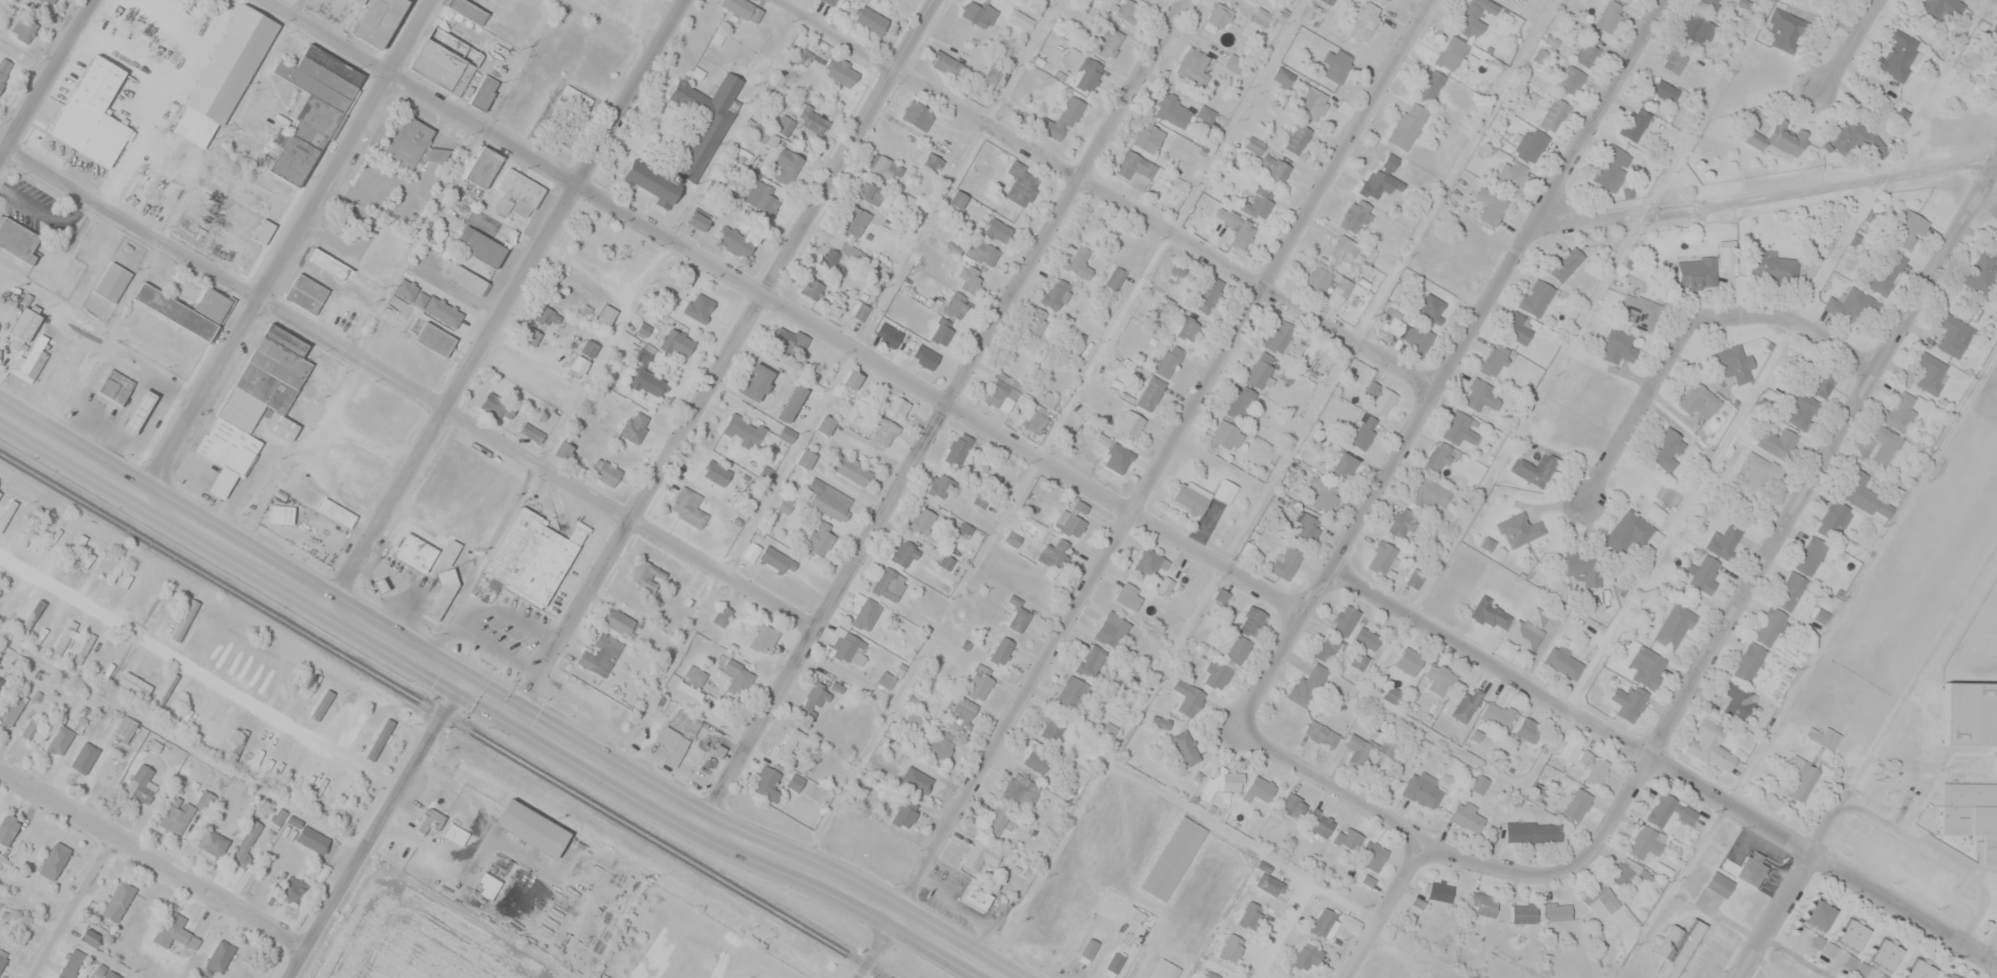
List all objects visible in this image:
building: (1630, 0)
building: (1837, 0)
building: (47, 1)
building: (360, 1)
building: (829, 1)
building: (1329, 1)
building: (1708, 3)
building: (738, 7)
building: (1126, 9)
building: (468, 10)
building: (1941, 10)
building: (977, 13)
building: (1217, 16)
building: (1474, 16)
building: (1261, 17)
building: (1608, 18)
building: (871, 20)
building: (1364, 21)
building: (377, 24)
building: (24, 28)
building: (1995, 28)
building: (1695, 29)
building: (1786, 31)
building: (1109, 42)
road: (1848, 44)
building: (1995, 47)
building: (1587, 51)
building: (1451, 53)
building: (1898, 55)
building: (446, 61)
building: (1674, 61)
building: (947, 64)
building: (1193, 65)
building: (1338, 66)
building: (1995, 67)
building: (4, 68)
building: (233, 68)
building: (1084, 69)
building: (842, 72)
building: (996, 74)
building: (1570, 80)
road: (48, 81)
building: (326, 82)
building: (1430, 84)
building: (1664, 91)
building: (484, 92)
building: (1312, 104)
building: (1173, 110)
building: (1205, 113)
building: (568, 114)
building: (1553, 114)
building: (917, 115)
building: (1062, 119)
building: (93, 120)
building: (704, 121)
building: (813, 121)
building: (783, 124)
building: (1634, 124)
building: (1408, 125)
building: (1780, 137)
building: (1854, 137)
building: (1148, 138)
building: (1296, 138)
building: (407, 142)
building: (1530, 144)
building: (436, 155)
building: (933, 161)
building: (786, 165)
building: (885, 166)
building: (483, 167)
building: (1274, 167)
building: (1611, 168)
building: (1135, 170)
building: (1512, 176)
building: (1383, 178)
building: (653, 183)
building: (1021, 184)
building: (869, 191)
building: (522, 192)
road: (1110, 195)
building: (763, 198)
building: (908, 199)
building: (958, 199)
road: (1987, 200)
building: (1258, 203)
building: (1491, 205)
building: (1354, 215)
building: (700, 219)
building: (853, 220)
building: (1236, 227)
building: (1906, 229)
building: (998, 230)
building: (263, 231)
building: (18, 240)
building: (734, 241)
road: (288, 246)
building: (483, 248)
building: (1339, 248)
building: (982, 251)
building: (835, 259)
building: (1076, 261)
building: (327, 263)
building: (1566, 264)
building: (1774, 267)
building: (1883, 270)
building: (1696, 272)
building: (1980, 272)
building: (1175, 273)
building: (970, 280)
building: (1317, 281)
building: (465, 282)
building: (111, 286)
building: (1342, 286)
building: (811, 289)
building: (306, 293)
building: (1055, 293)
building: (1207, 293)
building: (1536, 297)
building: (692, 300)
road: (504, 303)
building: (1167, 304)
road: (789, 305)
building: (956, 305)
building: (1437, 306)
building: (1854, 307)
building: (188, 309)
building: (859, 309)
building: (1639, 311)
building: (606, 315)
building: (548, 316)
building: (1035, 322)
road: (1687, 324)
building: (1517, 328)
building: (1188, 329)
building: (26, 331)
building: (942, 332)
building: (1410, 334)
building: (1953, 334)
building: (888, 335)
building: (1279, 335)
building: (532, 336)
building: (792, 339)
building: (434, 343)
building: (1617, 348)
building: (588, 349)
building: (924, 356)
road: (727, 359)
building: (1494, 360)
building: (1169, 361)
building: (33, 362)
building: (1734, 363)
building: (579, 365)
road: (1457, 366)
building: (1930, 372)
building: (1258, 373)
building: (853, 379)
building: (649, 382)
building: (1821, 383)
road: (406, 384)
building: (115, 390)
building: (1003, 392)
building: (1150, 393)
building: (1481, 396)
building: (1380, 397)
building: (1699, 400)
building: (1241, 402)
building: (792, 404)
building: (496, 406)
building: (898, 407)
road: (936, 408)
building: (1801, 410)
building: (1040, 411)
building: (1901, 412)
building: (138, 416)
building: (1130, 423)
building: (825, 425)
building: (633, 428)
building: (1460, 428)
building: (745, 431)
building: (1363, 431)
building: (532, 432)
building: (883, 432)
building: (1223, 435)
building: (1777, 442)
building: (1885, 444)
building: (959, 449)
building: (1666, 449)
building: (563, 450)
building: (1110, 455)
building: (1437, 457)
building: (805, 459)
building: (1343, 467)
building: (1535, 469)
building: (851, 470)
building: (1759, 470)
building: (717, 472)
building: (605, 473)
building: (222, 486)
building: (939, 486)
road: (1143, 488)
building: (1225, 491)
building: (1859, 491)
building: (0, 492)
building: (1428, 492)
building: (1323, 495)
building: (1191, 497)
building: (829, 501)
building: (784, 505)
building: (687, 507)
building: (7, 513)
building: (336, 515)
building: (280, 517)
building: (1074, 519)
building: (1833, 519)
building: (922, 520)
building: (1401, 523)
building: (1306, 528)
road: (1776, 528)
building: (1519, 530)
building: (1628, 531)
building: (27, 534)
building: (820, 539)
building: (1725, 541)
building: (450, 553)
building: (904, 554)
building: (1053, 554)
building: (415, 556)
building: (1811, 556)
building: (1382, 557)
building: (528, 561)
building: (778, 561)
building: (1286, 562)
building: (1150, 563)
building: (1584, 565)
building: (1703, 573)
building: (1414, 579)
building: (888, 584)
building: (1790, 591)
building: (442, 596)
building: (1129, 596)
building: (1489, 613)
building: (866, 615)
building: (1018, 615)
building: (721, 616)
building: (184, 620)
building: (1345, 620)
building: (619, 622)
building: (1252, 622)
building: (1675, 626)
building: (1771, 627)
building: (1111, 630)
building: (1528, 630)
building: (1367, 639)
building: (765, 640)
building: (1326, 649)
building: (849, 650)
building: (1237, 650)
building: (1001, 651)
building: (601, 655)
building: (1091, 661)
building: (1564, 662)
building: (1748, 662)
building: (1406, 664)
building: (1648, 667)
building: (1217, 675)
building: (694, 676)
building: (0, 677)
building: (737, 677)
building: (1440, 679)
building: (886, 680)
building: (979, 683)
building: (1308, 687)
building: (164, 690)
building: (1072, 693)
building: (1395, 696)
building: (814, 698)
building: (1188, 698)
building: (596, 699)
building: (1629, 701)
building: (1737, 701)
building: (324, 705)
road: (496, 705)
building: (1466, 706)
building: (11, 707)
railway: (446, 714)
building: (961, 715)
building: (1497, 715)
building: (31, 729)
building: (128, 729)
building: (1529, 730)
building: (1051, 731)
building: (1321, 734)
building: (1829, 738)
building: (59, 742)
road: (1450, 744)
building: (938, 745)
building: (1710, 745)
building: (672, 746)
building: (786, 746)
building: (1186, 748)
building: (1366, 749)
building: (1569, 750)
building: (1954, 754)
building: (82, 757)
building: (1037, 758)
road: (1666, 766)
building: (108, 776)
building: (1802, 779)
building: (924, 781)
building: (1232, 782)
building: (1479, 783)
building: (141, 784)
building: (768, 785)
building: (1422, 789)
building: (1259, 790)
building: (1923, 792)
building: (1020, 793)
building: (1968, 794)
building: (347, 796)
building: (205, 799)
building: (1578, 804)
building: (1293, 807)
building: (1670, 810)
building: (174, 814)
building: (905, 814)
building: (1467, 815)
road: (1384, 817)
building: (277, 818)
building: (996, 821)
building: (1319, 822)
building: (7, 828)
road: (371, 830)
building: (1533, 832)
building: (532, 833)
building: (456, 838)
building: (1348, 838)
building: (312, 839)
building: (1645, 841)
building: (214, 844)
building: (246, 844)
building: (1989, 852)
building: (979, 855)
building: (1373, 855)
road: (151, 858)
building: (53, 861)
building: (1172, 862)
building: (1664, 863)
building: (1748, 868)
building: (1625, 872)
building: (1267, 880)
building: (490, 881)
building: (1719, 883)
building: (1440, 892)
building: (977, 896)
building: (1601, 898)
building: (117, 899)
building: (35, 902)
building: (1484, 904)
road: (74, 908)
road: (1379, 908)
building: (1558, 911)
building: (1523, 913)
building: (1819, 914)
building: (1250, 915)
road: (1774, 917)
building: (1325, 923)
building: (175, 932)
building: (1854, 934)
building: (90, 937)
building: (1232, 948)
building: (1087, 949)
building: (1887, 954)
building: (219, 955)
building: (1307, 955)
building: (3, 957)
building: (72, 964)
building: (1114, 964)
building: (1921, 970)
building: (1165, 972)
building: (112, 975)
building: (1210, 975)
building: (749, 977)

